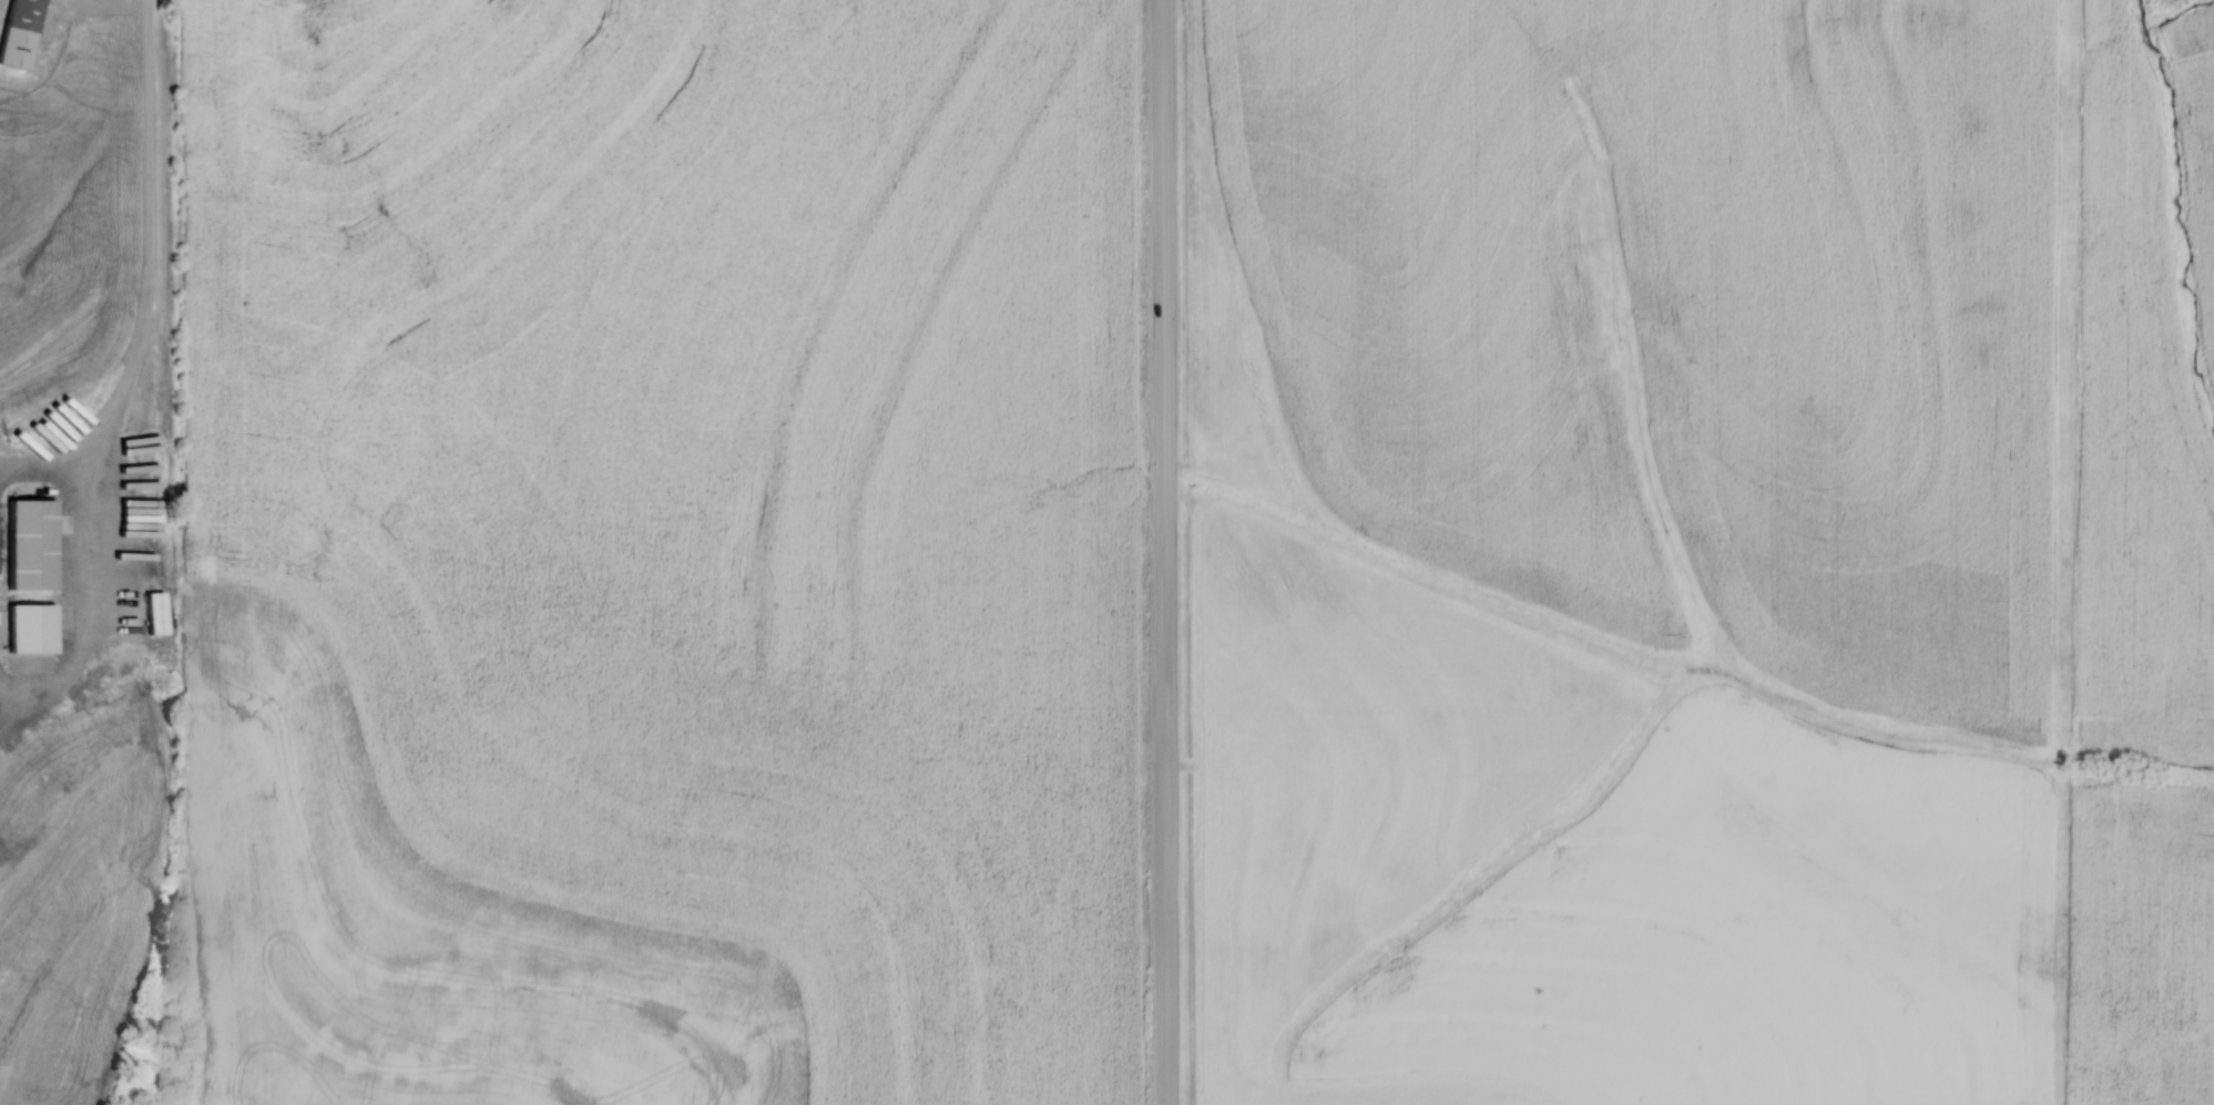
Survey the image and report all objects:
building: (23, 544)
building: (106, 551)
road: (1162, 552)
building: (27, 627)

